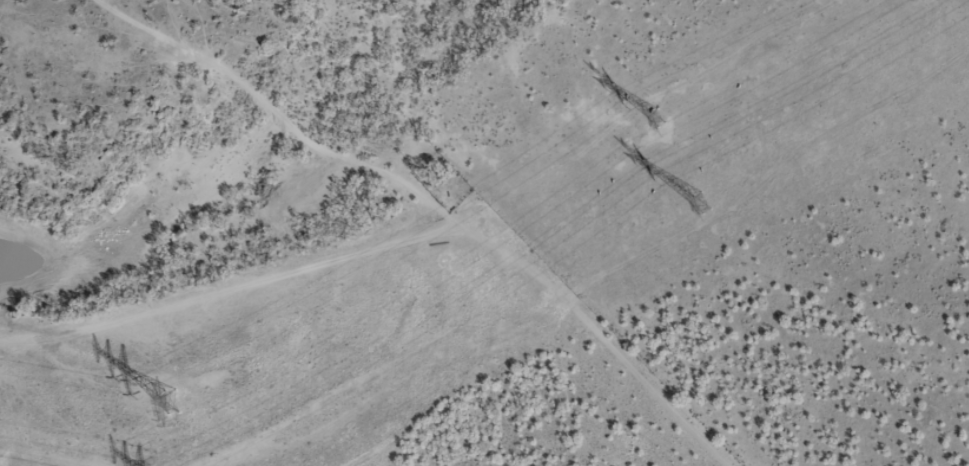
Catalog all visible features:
power tower: (654, 117)
power tower: (698, 201)
power tower: (168, 400)

